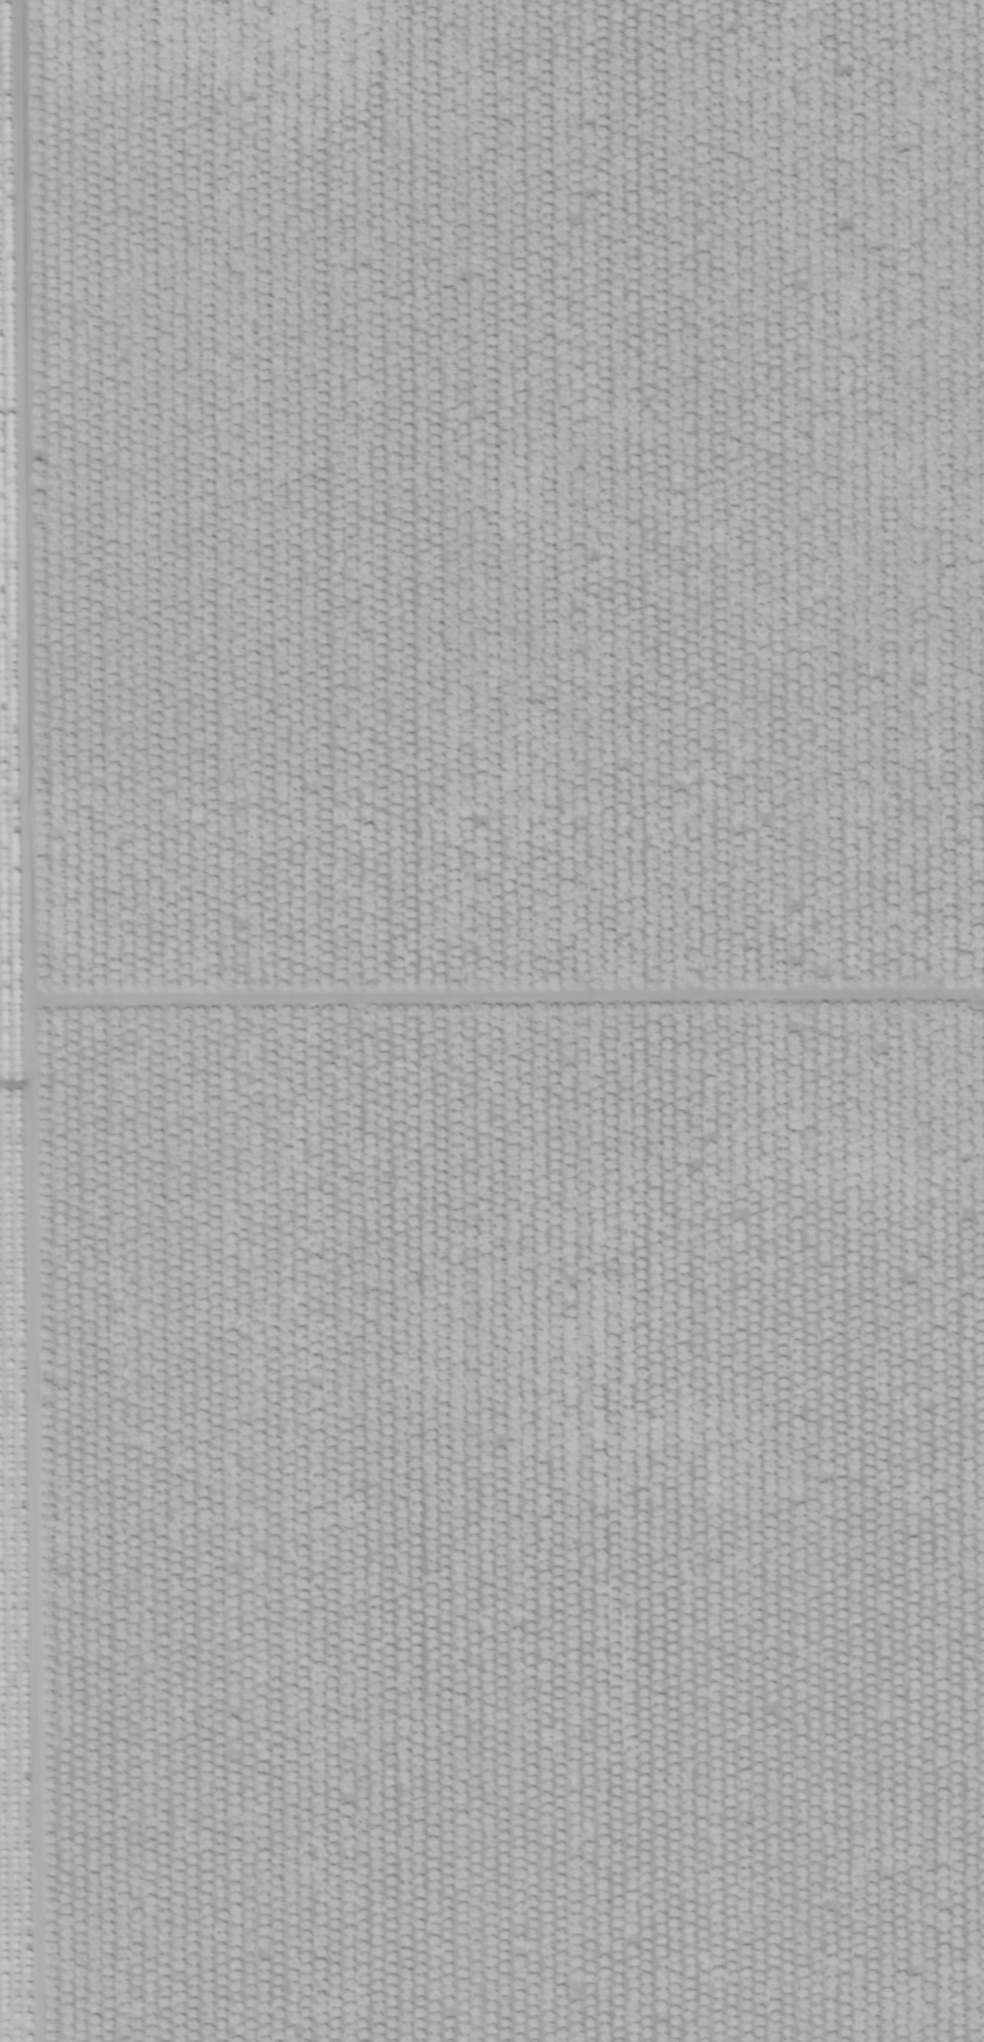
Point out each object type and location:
crop: (492, 1021)

